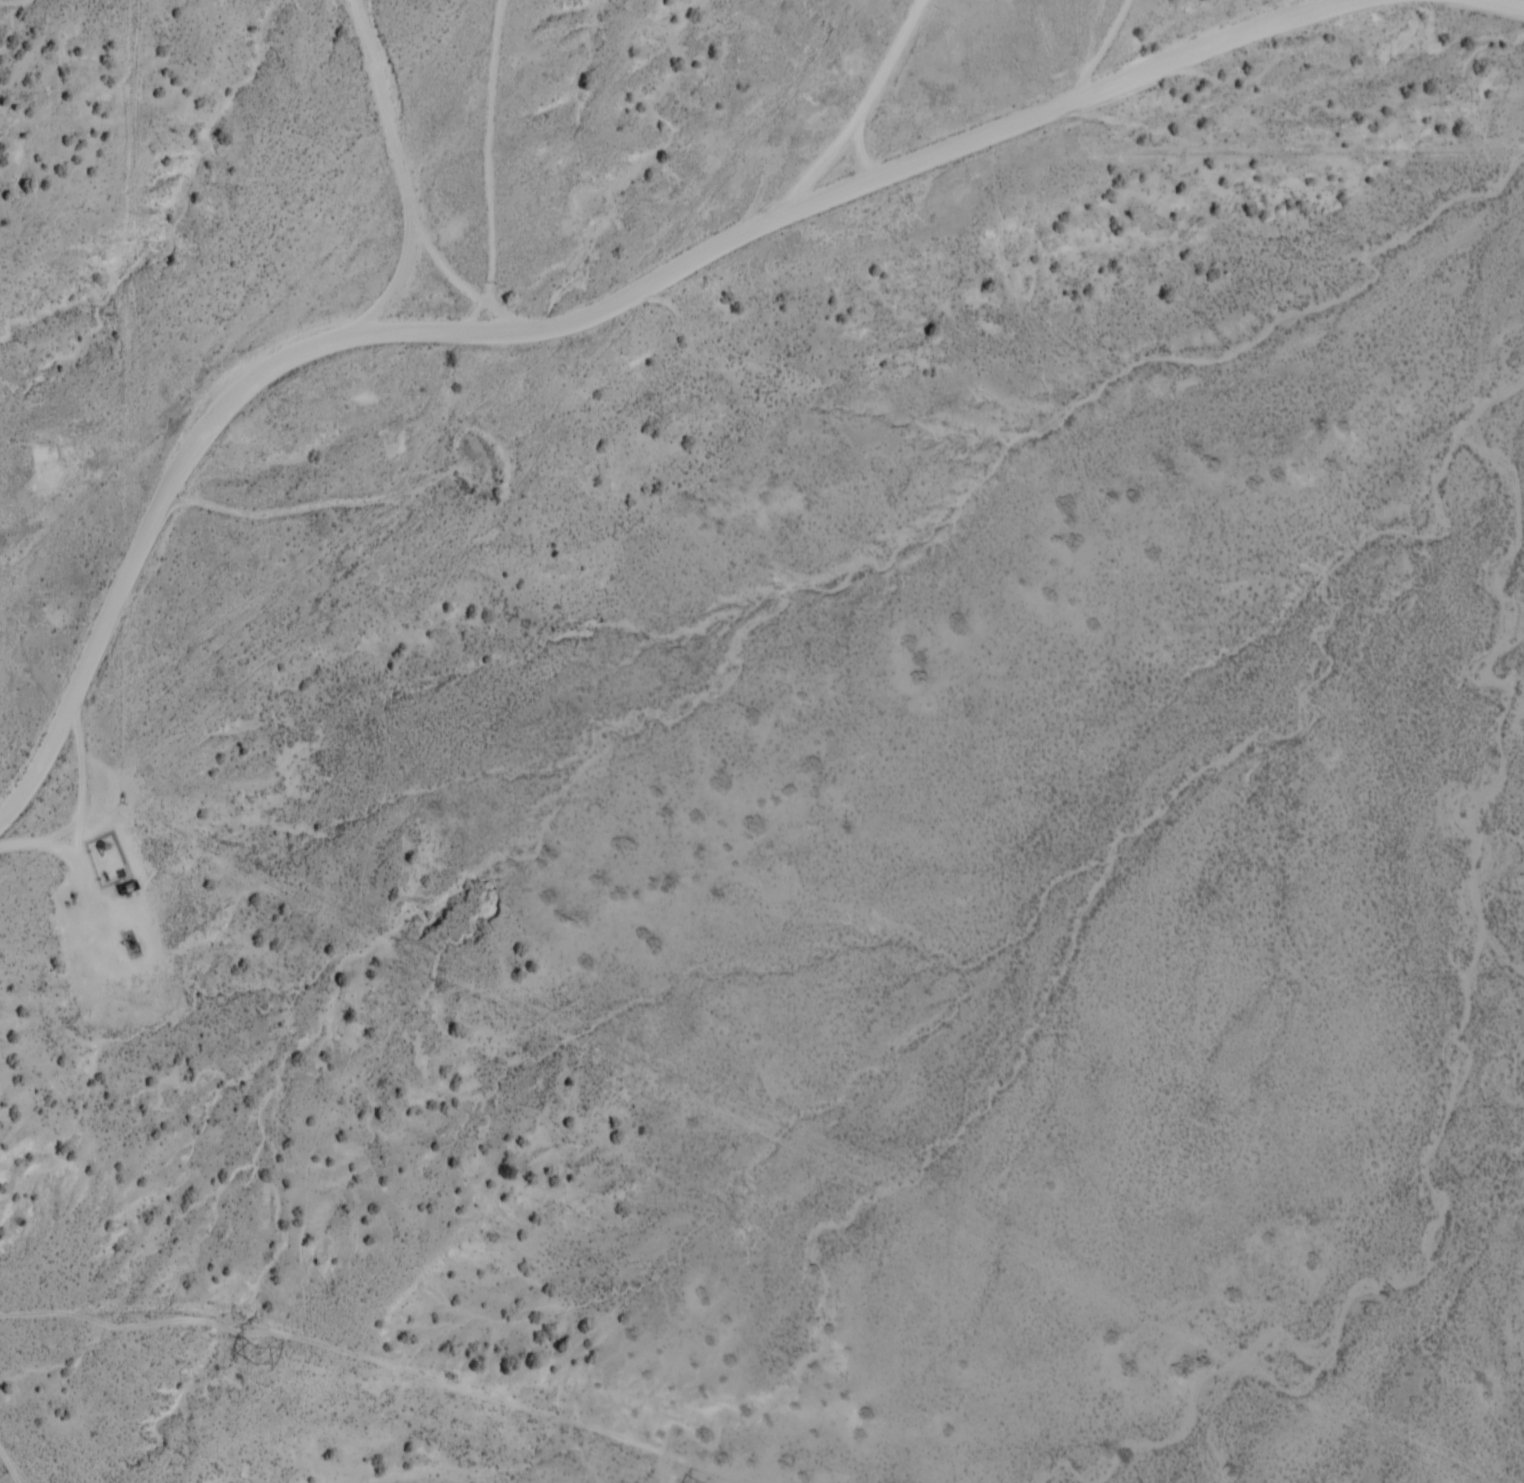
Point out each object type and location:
road: (1512, 2)
road: (400, 173)
road: (578, 320)
power tower: (257, 1357)
road: (3, 1476)

